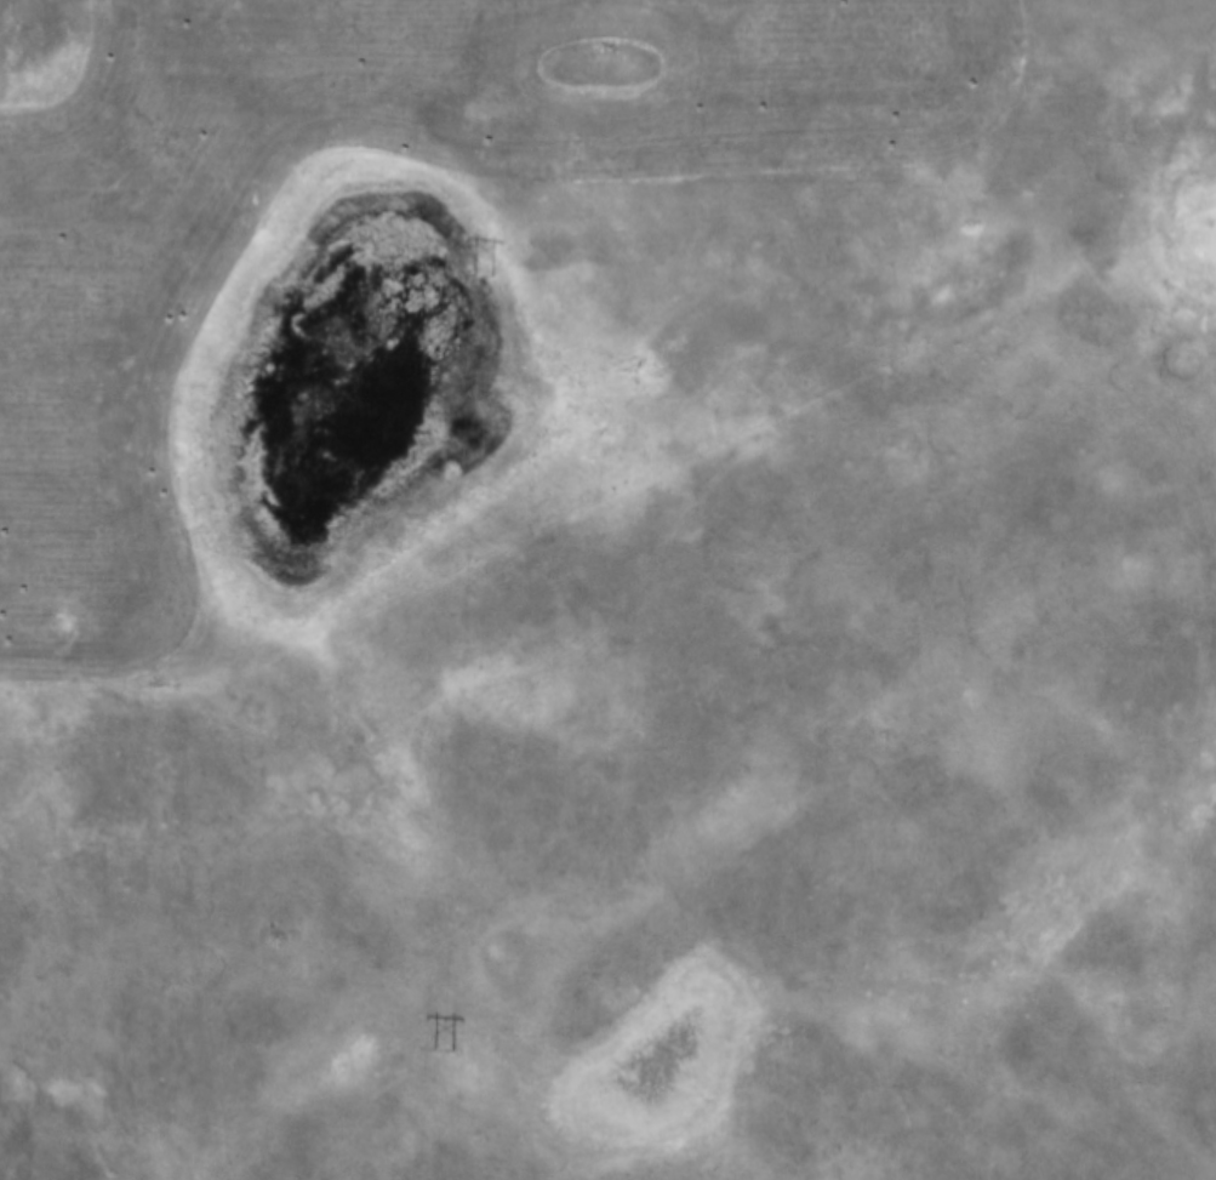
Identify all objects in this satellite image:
power tower: (481, 277)
power tower: (445, 1051)

